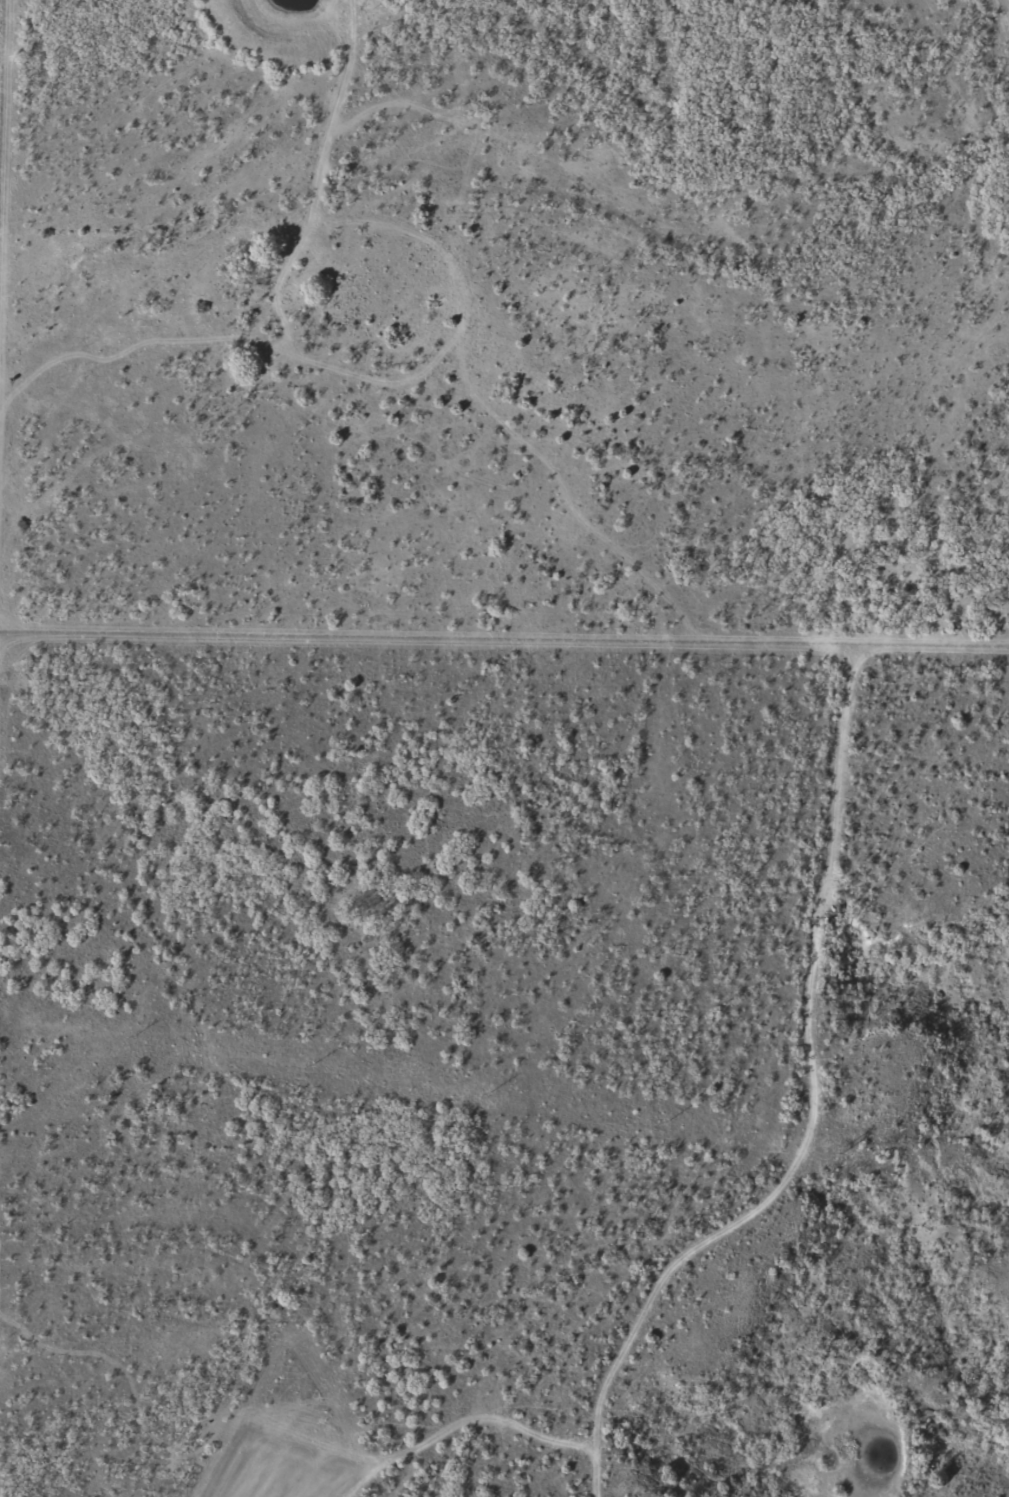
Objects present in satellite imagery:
road: (943, 590)

